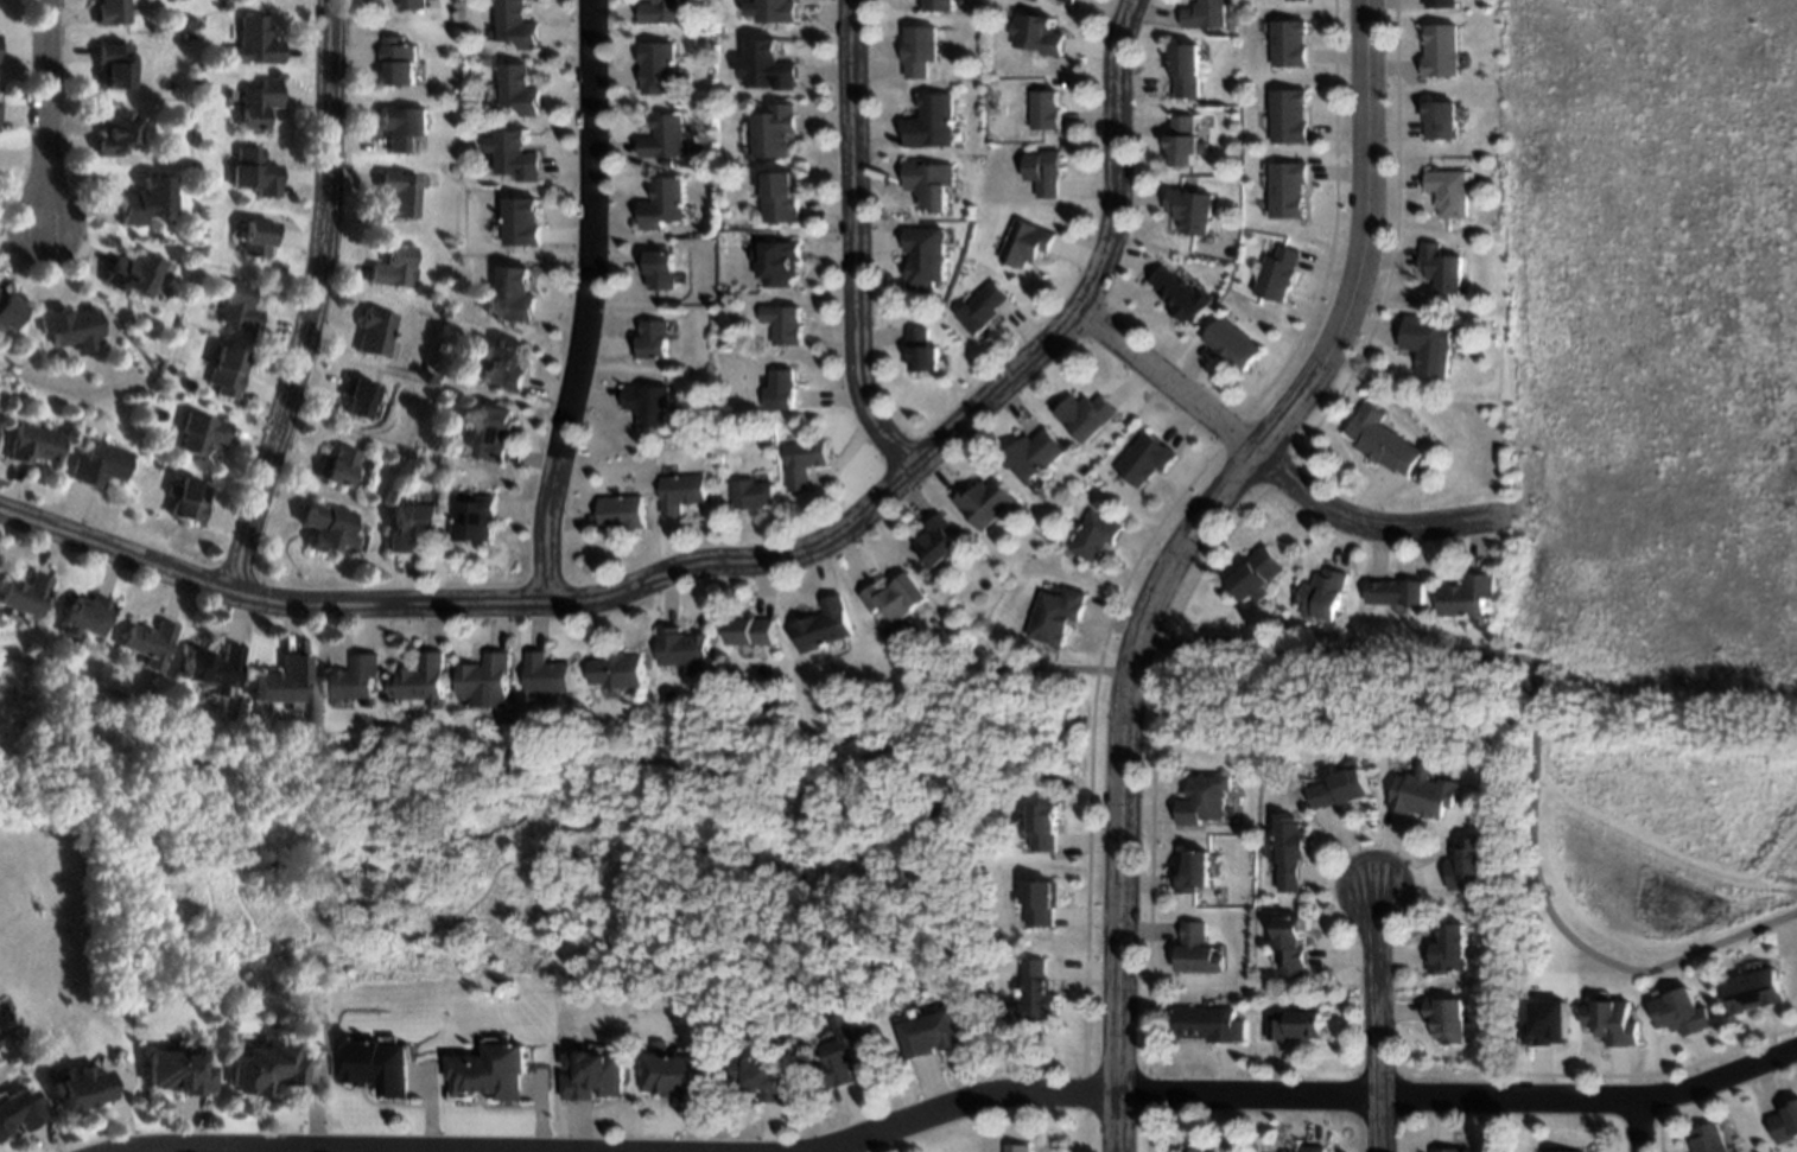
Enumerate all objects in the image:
building: (1068, 0)
building: (1295, 0)
building: (1440, 2)
building: (412, 4)
building: (938, 4)
building: (658, 9)
building: (777, 9)
building: (110, 11)
building: (1202, 13)
building: (516, 25)
building: (1034, 31)
building: (1288, 42)
building: (253, 44)
building: (919, 47)
building: (1440, 49)
building: (396, 58)
building: (112, 63)
building: (770, 63)
building: (654, 64)
building: (1183, 69)
building: (517, 87)
building: (258, 101)
building: (1044, 108)
road: (44, 114)
building: (1288, 114)
building: (1440, 117)
building: (929, 120)
building: (401, 122)
building: (775, 127)
building: (114, 132)
building: (662, 134)
building: (1180, 138)
building: (512, 154)
building: (1042, 170)
building: (256, 172)
building: (928, 180)
building: (1288, 187)
building: (404, 190)
building: (1447, 190)
building: (781, 196)
building: (144, 198)
building: (660, 202)
building: (1189, 208)
building: (520, 219)
building: (259, 236)
road: (855, 242)
building: (1024, 242)
building: (923, 256)
building: (777, 261)
building: (396, 263)
building: (1439, 266)
building: (133, 269)
building: (658, 269)
building: (1277, 272)
building: (513, 294)
building: (1180, 294)
road: (317, 301)
road: (583, 304)
building: (240, 305)
building: (983, 306)
building: (8, 308)
building: (782, 322)
building: (74, 325)
building: (379, 327)
building: (649, 339)
building: (1424, 340)
building: (1230, 342)
building: (920, 349)
building: (502, 363)
building: (229, 368)
building: (779, 387)
building: (363, 395)
building: (647, 401)
building: (1084, 415)
building: (203, 429)
building: (490, 432)
building: (1379, 439)
building: (36, 441)
building: (1031, 453)
building: (1143, 457)
building: (799, 462)
building: (100, 463)
building: (343, 463)
road: (1272, 471)
building: (678, 491)
building: (749, 491)
building: (190, 498)
building: (983, 502)
building: (618, 511)
building: (472, 516)
building: (329, 526)
building: (409, 526)
building: (1091, 534)
building: (938, 540)
road: (1176, 552)
road: (736, 565)
building: (1255, 573)
building: (1395, 590)
building: (1321, 592)
building: (1467, 592)
building: (24, 593)
building: (894, 596)
building: (84, 613)
building: (1053, 615)
building: (825, 624)
building: (749, 628)
building: (148, 637)
building: (681, 645)
road: (1126, 658)
building: (212, 666)
building: (621, 668)
building: (547, 673)
building: (353, 676)
building: (284, 677)
building: (487, 677)
building: (423, 679)
road: (1530, 740)
road: (548, 763)
building: (1344, 788)
building: (1425, 795)
building: (1202, 797)
park: (1640, 807)
building: (1043, 823)
building: (1291, 851)
building: (1468, 863)
building: (1194, 870)
building: (1044, 900)
building: (1293, 943)
building: (1449, 948)
building: (1196, 949)
road: (1373, 988)
building: (1752, 989)
building: (1039, 993)
building: (1682, 1010)
building: (1447, 1017)
building: (1612, 1021)
building: (1209, 1023)
building: (1295, 1023)
building: (1549, 1023)
building: (932, 1032)
building: (849, 1051)
building: (376, 1064)
building: (265, 1067)
building: (491, 1070)
building: (179, 1071)
building: (596, 1075)
building: (679, 1075)
building: (762, 1078)
building: (81, 1087)
road: (1313, 1097)
building: (20, 1108)
road: (1379, 1125)
building: (1785, 1125)
road: (1638, 1127)
building: (1709, 1139)
building: (1016, 1146)
building: (1192, 1147)
building: (1312, 1147)
road: (842, 1150)
building: (1446, 1150)
road: (157, 1151)

